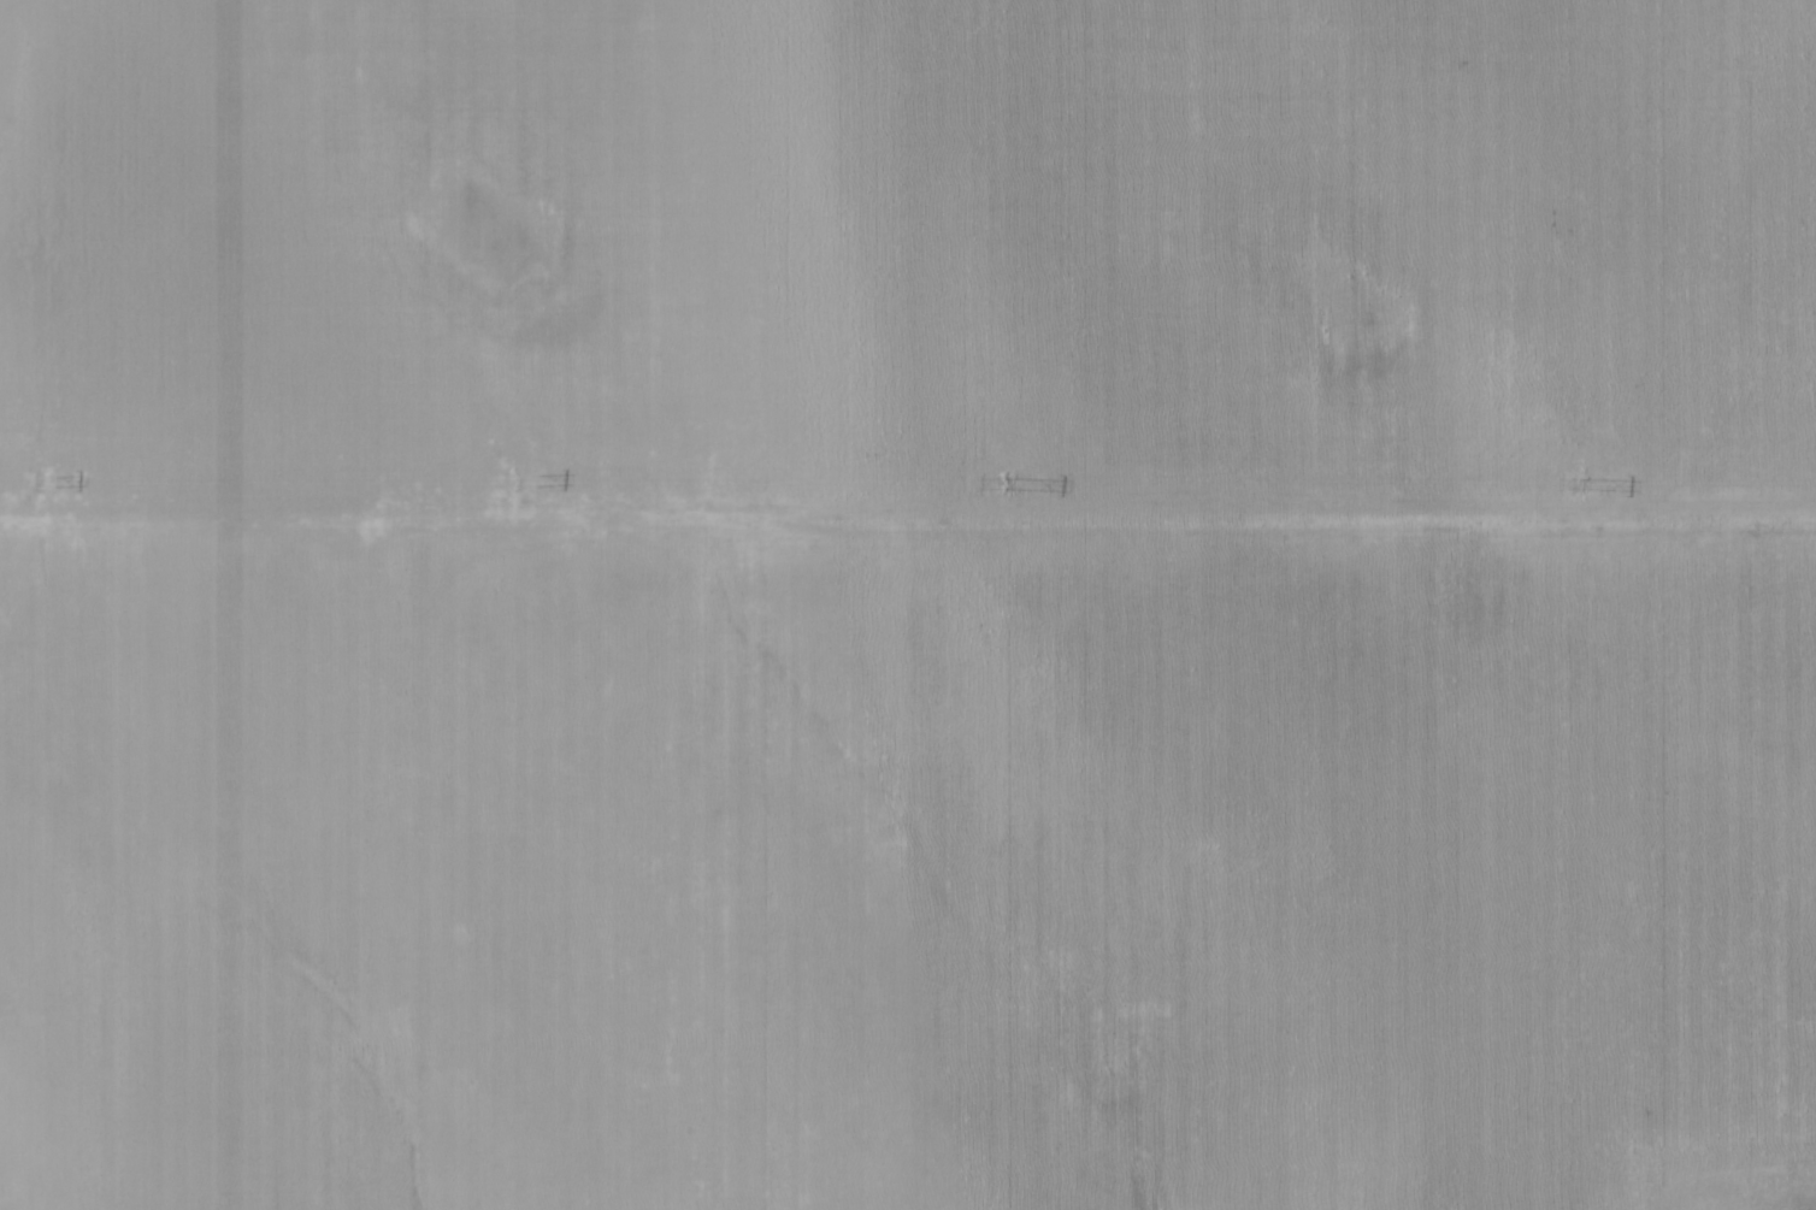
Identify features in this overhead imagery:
power tower: (41, 482)
power tower: (518, 483)
power tower: (1006, 484)
power tower: (1585, 485)

